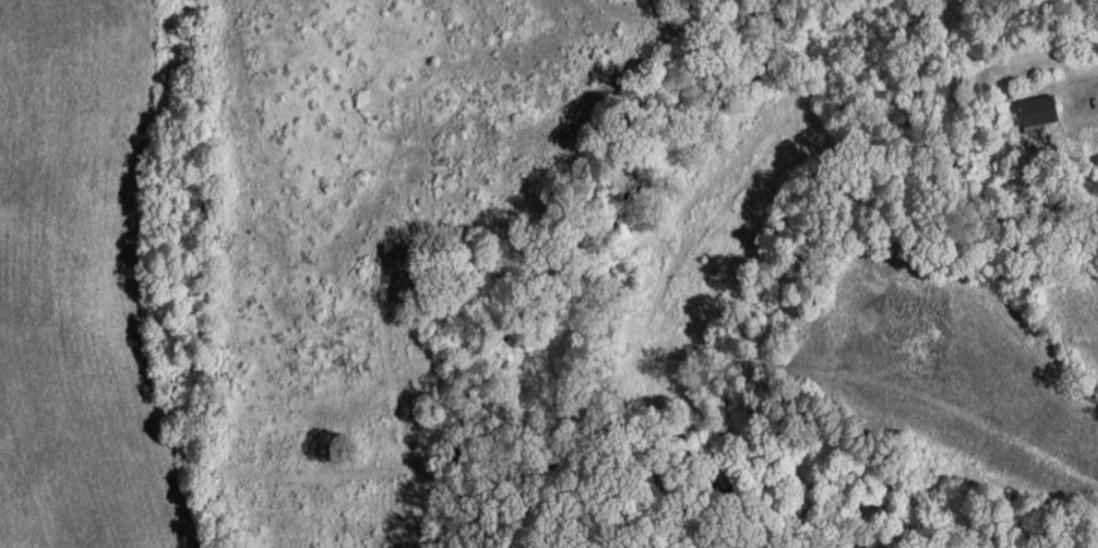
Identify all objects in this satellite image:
building: (1036, 109)

